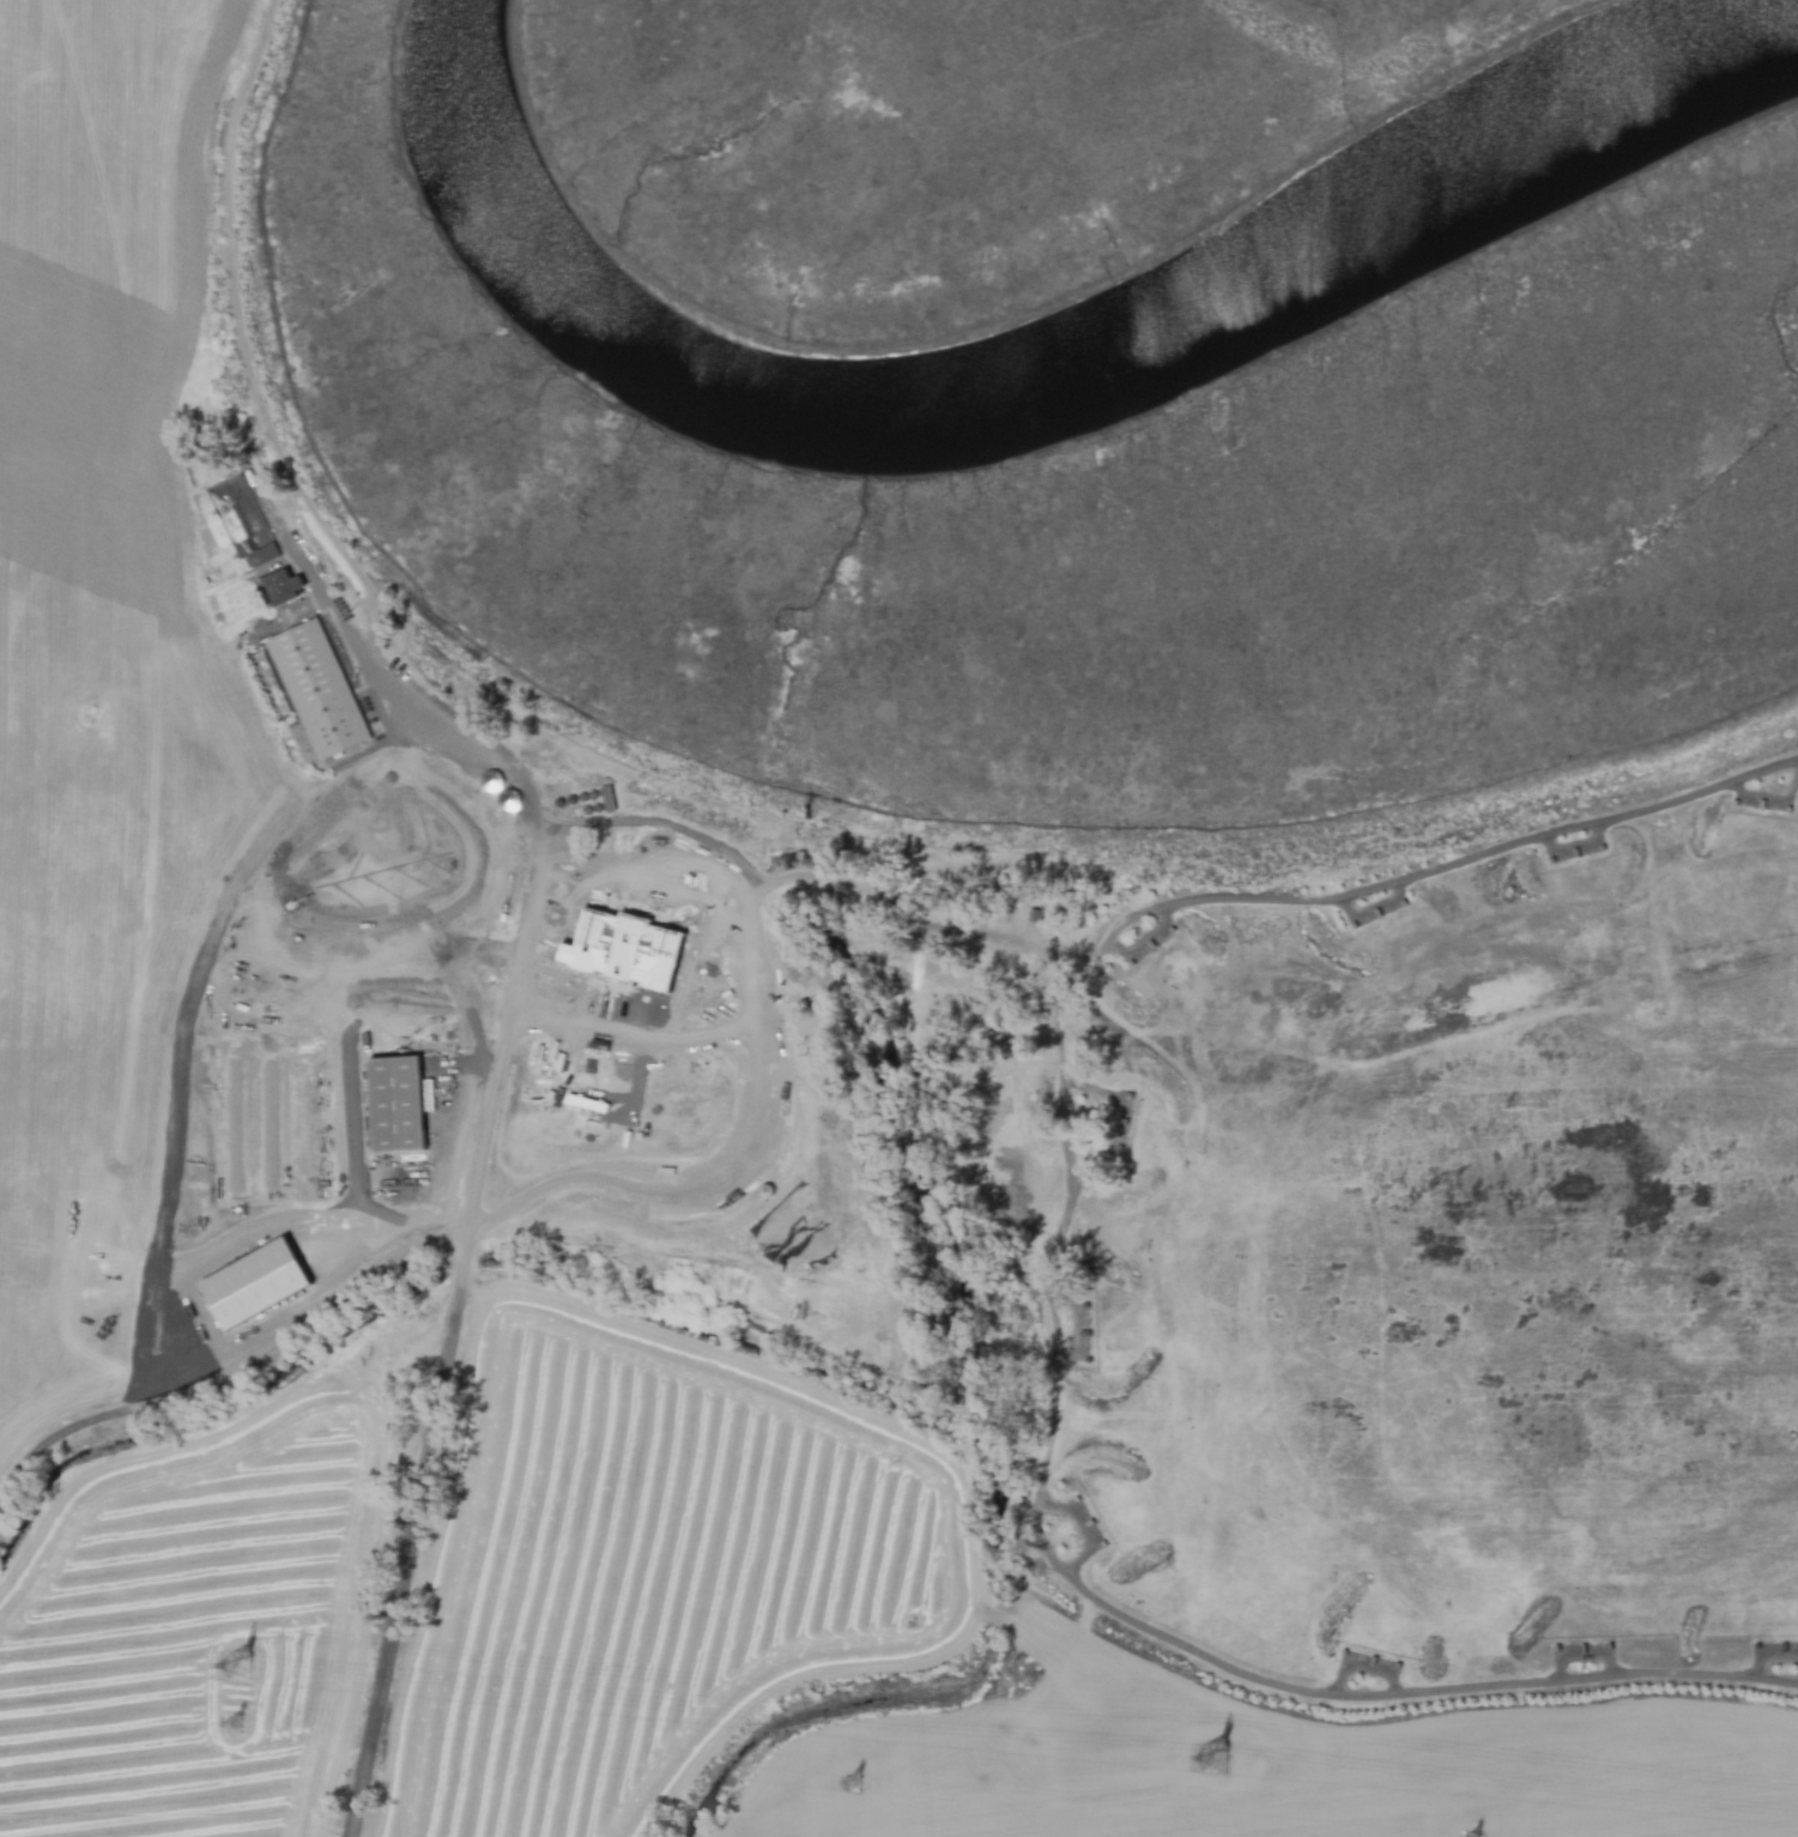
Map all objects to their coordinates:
building: (290, 563)
road: (364, 588)
building: (339, 687)
building: (607, 797)
building: (385, 863)
road: (1440, 865)
building: (459, 884)
road: (744, 916)
road: (1142, 938)
building: (684, 1045)
road: (181, 1066)
road: (1094, 1089)
building: (400, 1099)
road: (355, 1177)
road: (661, 1196)
building: (714, 1292)
road: (417, 1476)
road: (1107, 1599)
power tower: (242, 1668)
power tower: (236, 1728)
power tower: (1211, 1767)
power tower: (864, 1789)

